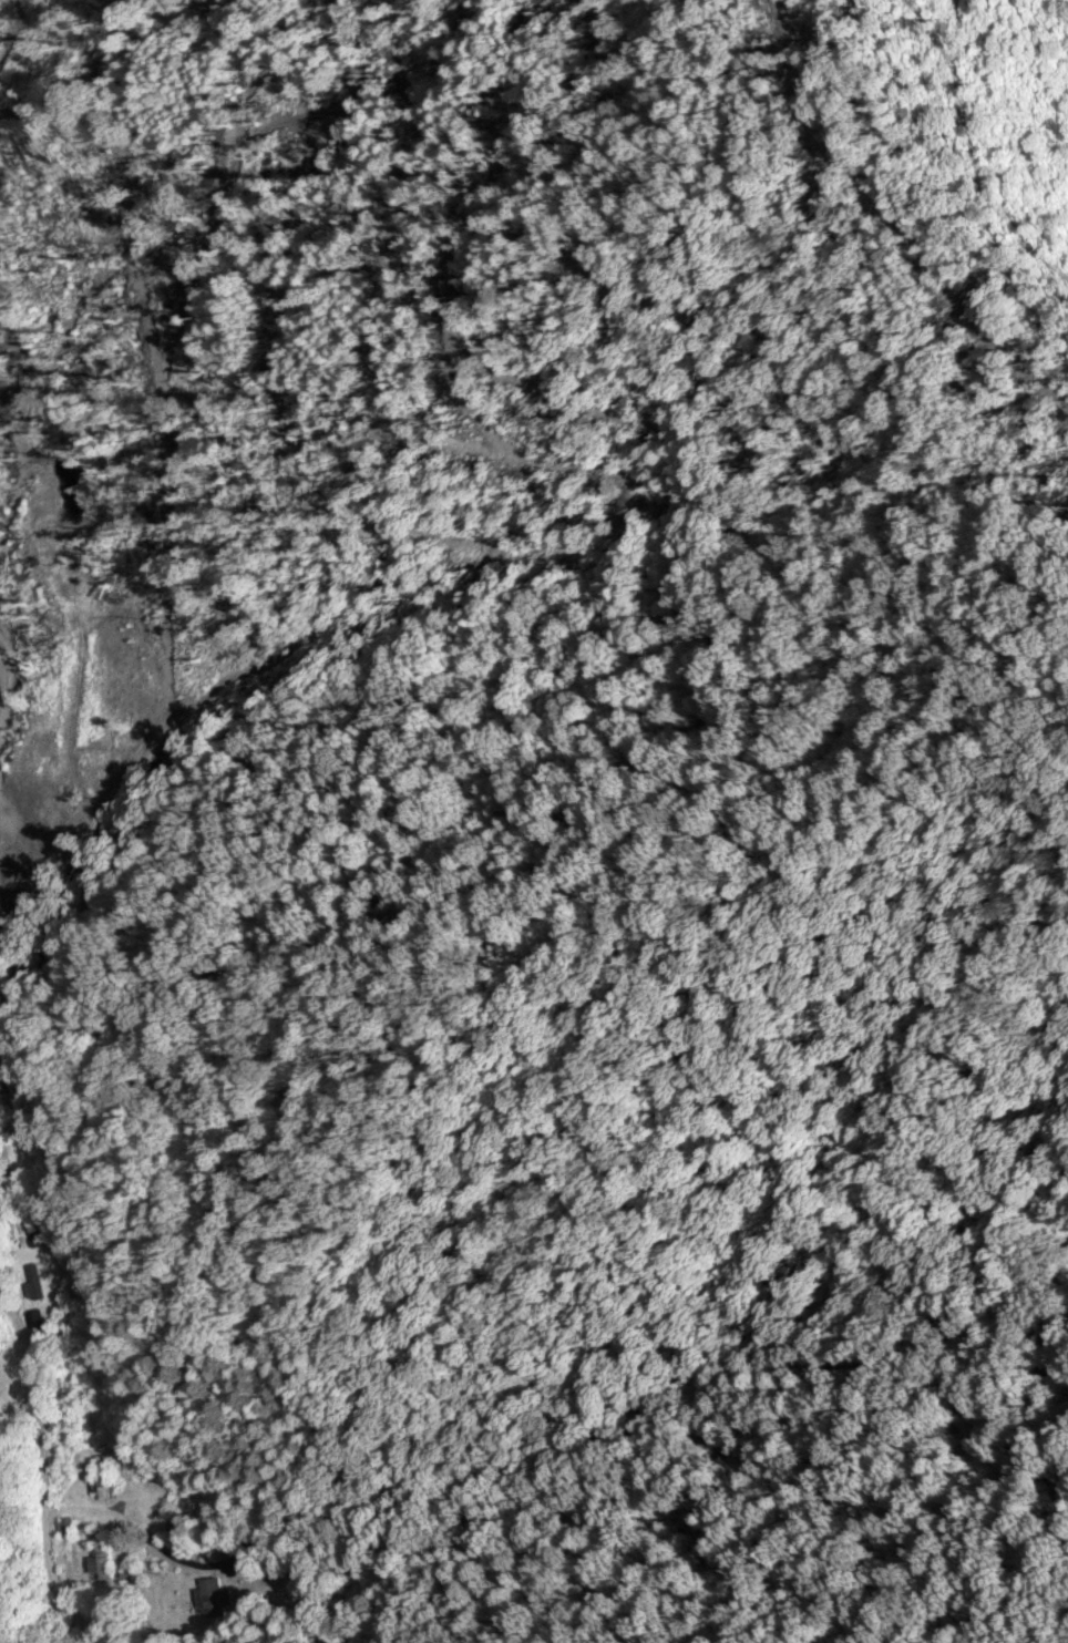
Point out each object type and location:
road: (44, 1469)
building: (212, 1600)

